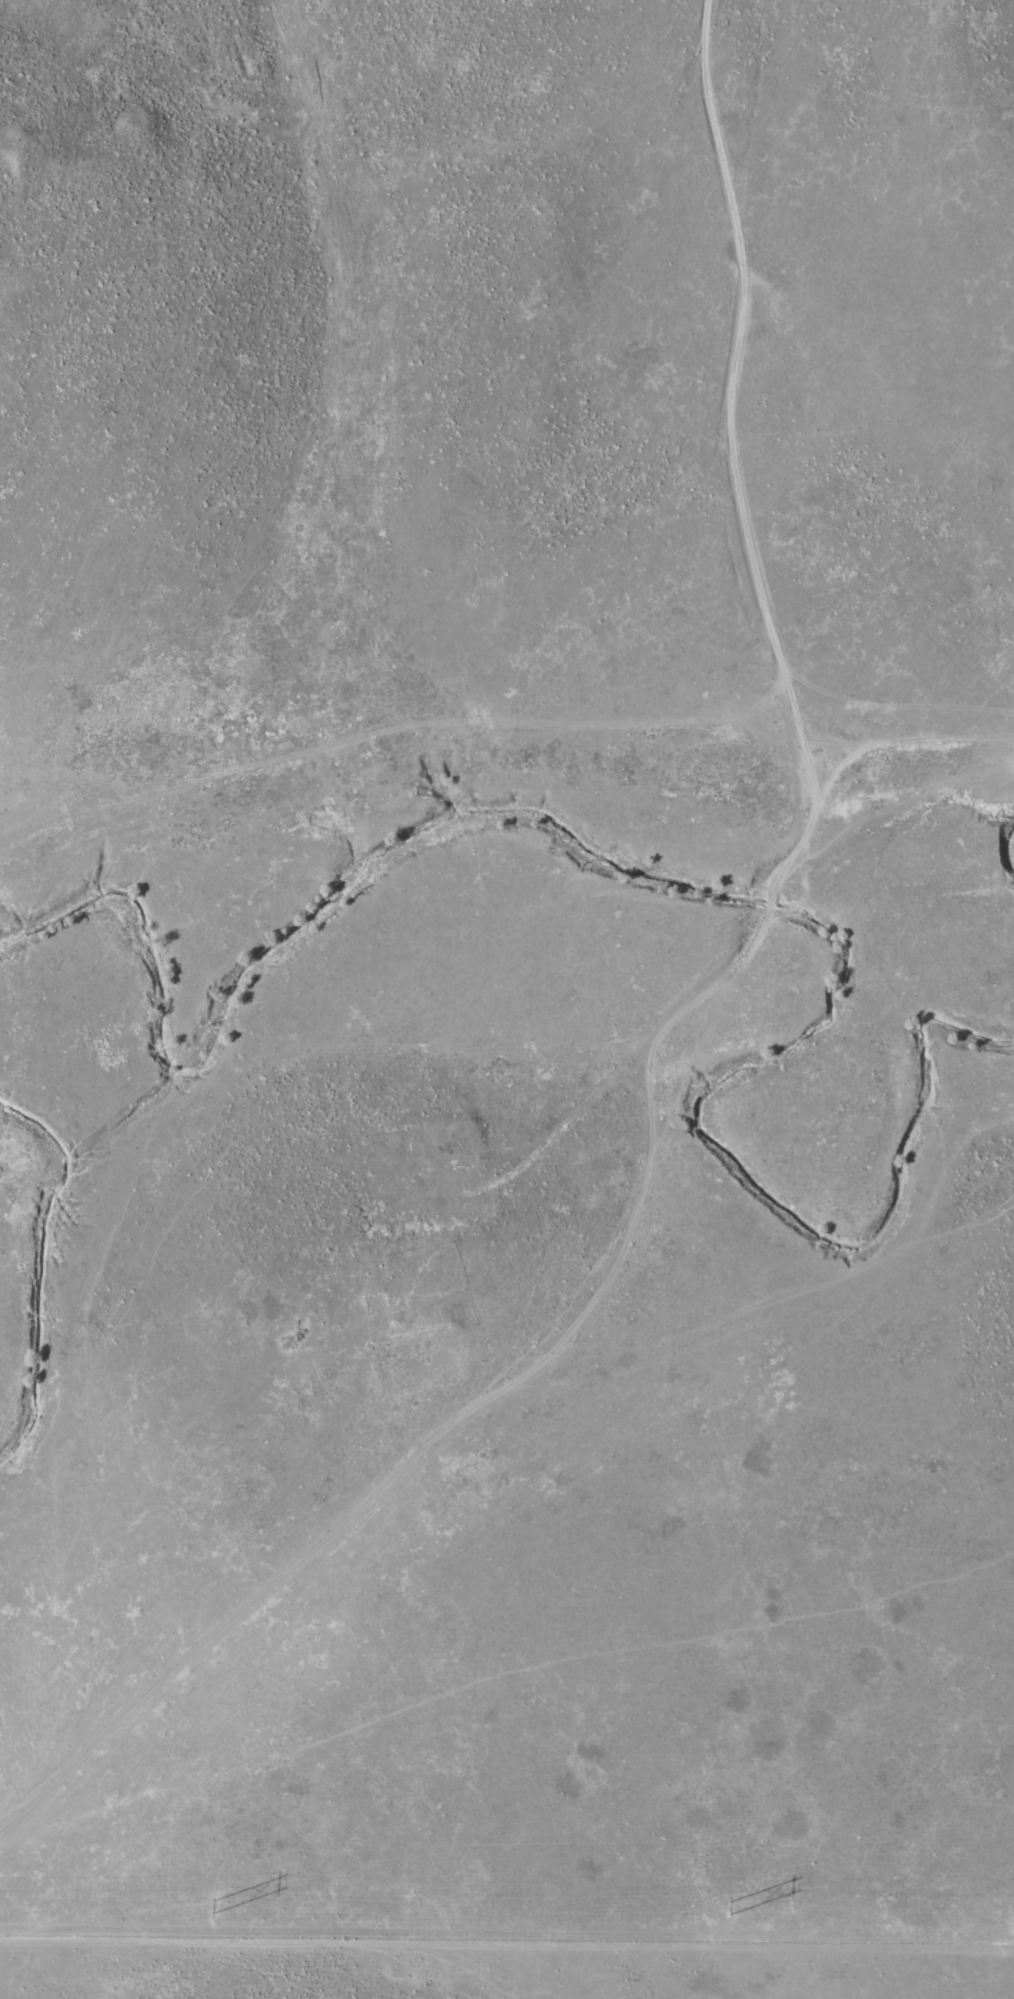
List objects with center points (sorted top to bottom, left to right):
power tower: (215, 1905)
power tower: (729, 1908)

